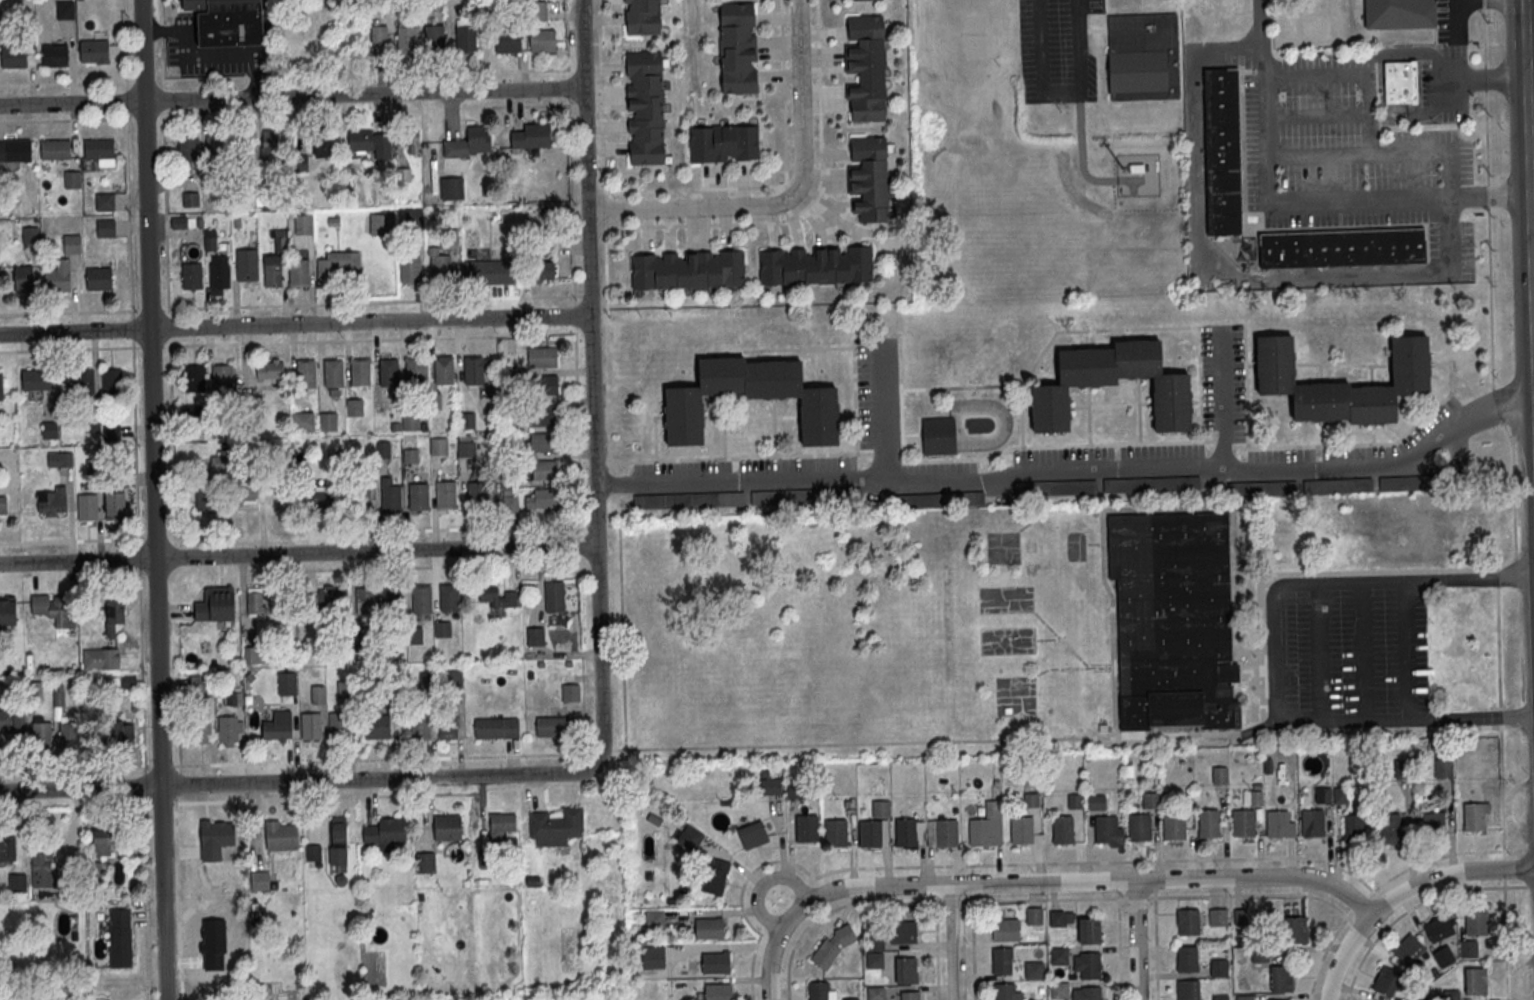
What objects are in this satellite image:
building: (66, 10)
building: (539, 10)
building: (1399, 14)
building: (642, 17)
building: (227, 22)
road: (1260, 25)
building: (379, 33)
building: (435, 38)
building: (466, 39)
building: (407, 40)
building: (508, 41)
building: (543, 41)
building: (737, 47)
building: (94, 51)
parking lot: (1057, 51)
building: (14, 55)
building: (55, 55)
road: (211, 55)
building: (1144, 57)
building: (866, 67)
road: (1459, 70)
road: (1353, 75)
building: (1400, 82)
road: (80, 83)
road: (1060, 95)
road: (291, 96)
road: (600, 96)
building: (645, 108)
road: (1528, 129)
building: (532, 136)
building: (268, 141)
building: (414, 141)
building: (323, 142)
building: (371, 143)
building: (724, 143)
building: (468, 144)
building: (100, 148)
building: (188, 148)
building: (216, 148)
building: (56, 150)
road: (127, 150)
road: (1081, 150)
building: (15, 151)
building: (1222, 151)
building: (1135, 166)
building: (869, 178)
building: (73, 180)
road: (784, 183)
building: (452, 189)
road: (788, 197)
building: (190, 198)
road: (1372, 199)
building: (105, 202)
road: (807, 204)
road: (603, 209)
building: (414, 218)
building: (304, 224)
building: (380, 225)
building: (106, 228)
building: (32, 236)
building: (210, 239)
building: (450, 239)
building: (73, 244)
building: (1342, 247)
building: (247, 265)
building: (815, 265)
building: (335, 266)
building: (442, 268)
building: (409, 269)
road: (606, 269)
building: (687, 269)
road: (1526, 270)
building: (544, 271)
road: (1381, 271)
building: (273, 272)
building: (299, 272)
building: (488, 273)
building: (220, 275)
building: (59, 277)
building: (192, 277)
building: (24, 278)
building: (98, 279)
road: (294, 324)
road: (132, 328)
building: (542, 357)
building: (268, 368)
building: (416, 370)
building: (444, 370)
building: (474, 371)
building: (361, 372)
building: (334, 373)
building: (390, 373)
building: (306, 374)
building: (194, 378)
building: (222, 378)
parking lot: (1223, 378)
building: (36, 380)
building: (81, 381)
building: (112, 382)
road: (591, 383)
building: (1341, 383)
building: (544, 385)
building: (1, 387)
parking lot: (877, 391)
building: (749, 397)
road: (1224, 399)
building: (1170, 407)
building: (355, 409)
road: (885, 411)
building: (543, 417)
building: (411, 421)
building: (466, 421)
building: (303, 422)
building: (328, 422)
building: (91, 423)
building: (50, 431)
building: (112, 432)
building: (938, 435)
building: (545, 443)
building: (440, 447)
building: (466, 449)
building: (383, 450)
building: (412, 456)
building: (60, 460)
building: (219, 462)
building: (93, 467)
building: (547, 471)
road: (1070, 471)
building: (113, 479)
building: (1408, 482)
building: (1151, 484)
building: (1335, 485)
building: (1055, 487)
building: (1259, 488)
building: (243, 492)
building: (208, 495)
building: (447, 495)
building: (478, 495)
building: (318, 496)
building: (361, 496)
building: (391, 496)
building: (807, 496)
building: (419, 497)
building: (759, 497)
building: (548, 499)
building: (689, 499)
building: (941, 499)
road: (153, 500)
building: (510, 500)
building: (51, 502)
building: (3, 505)
building: (115, 506)
building: (87, 507)
road: (297, 553)
road: (1381, 582)
road: (139, 583)
road: (1277, 585)
building: (496, 595)
building: (555, 597)
building: (450, 598)
building: (255, 600)
building: (325, 600)
building: (393, 600)
building: (422, 600)
building: (366, 601)
building: (216, 605)
road: (1403, 607)
building: (8, 611)
building: (53, 611)
building: (113, 616)
building: (1173, 619)
building: (444, 630)
road: (1498, 634)
building: (415, 636)
building: (536, 636)
building: (362, 644)
building: (389, 648)
parking lot: (1347, 651)
road: (1319, 653)
building: (251, 656)
building: (101, 659)
building: (454, 679)
building: (427, 680)
building: (129, 682)
building: (287, 683)
building: (198, 684)
building: (345, 688)
building: (34, 691)
building: (395, 693)
building: (570, 694)
building: (318, 695)
building: (232, 698)
road: (1470, 717)
building: (12, 720)
building: (421, 725)
building: (278, 726)
building: (311, 726)
building: (338, 726)
building: (448, 726)
building: (377, 727)
building: (551, 727)
building: (497, 728)
building: (228, 729)
building: (201, 730)
building: (116, 735)
building: (42, 736)
building: (70, 736)
road: (296, 761)
building: (1312, 765)
building: (1443, 767)
building: (1401, 768)
building: (1219, 774)
road: (297, 780)
building: (770, 784)
building: (1322, 794)
building: (1341, 794)
building: (1252, 797)
building: (1150, 799)
building: (1096, 801)
building: (1476, 815)
building: (1209, 822)
building: (1242, 822)
building: (1311, 822)
building: (1432, 822)
building: (1279, 823)
building: (502, 825)
building: (1174, 825)
building: (1138, 826)
building: (557, 827)
building: (806, 827)
building: (1353, 827)
building: (1389, 827)
building: (447, 828)
building: (1062, 828)
building: (1105, 828)
building: (1021, 829)
building: (386, 831)
building: (905, 831)
building: (980, 831)
building: (836, 832)
building: (869, 832)
building: (946, 832)
building: (753, 834)
building: (689, 836)
building: (281, 837)
building: (338, 839)
building: (106, 841)
building: (7, 849)
building: (314, 853)
road: (1451, 853)
building: (488, 859)
road: (1083, 861)
building: (426, 863)
building: (41, 870)
building: (94, 871)
building: (715, 876)
road: (1075, 881)
building: (17, 883)
road: (1402, 892)
road: (1037, 899)
road: (178, 901)
road: (1416, 904)
building: (1034, 915)
building: (1241, 917)
building: (1057, 918)
building: (1217, 918)
building: (654, 919)
building: (1476, 921)
building: (1187, 922)
road: (749, 924)
building: (708, 927)
building: (1438, 928)
building: (1005, 929)
building: (1296, 929)
building: (1089, 930)
building: (903, 933)
building: (120, 938)
building: (875, 940)
road: (1137, 940)
road: (953, 942)
road: (1505, 943)
building: (832, 947)
road: (1326, 947)
road: (1120, 948)
road: (1156, 948)
building: (1467, 948)
building: (1408, 949)
road: (149, 950)
road: (973, 950)
road: (937, 951)
building: (1058, 955)
building: (1259, 955)
building: (653, 958)
building: (1187, 958)
building: (874, 959)
building: (1001, 960)
building: (716, 961)
road: (770, 963)
building: (1088, 964)
building: (1218, 968)
building: (904, 969)
building: (1033, 969)
building: (1281, 978)
building: (1386, 980)
building: (1475, 980)
building: (1060, 989)
building: (1187, 989)
building: (818, 990)
building: (718, 991)
building: (1004, 991)
building: (876, 993)
building: (1088, 993)
building: (910, 995)
building: (1220, 997)
building: (851, 998)
building: (1245, 998)
building: (1281, 999)

